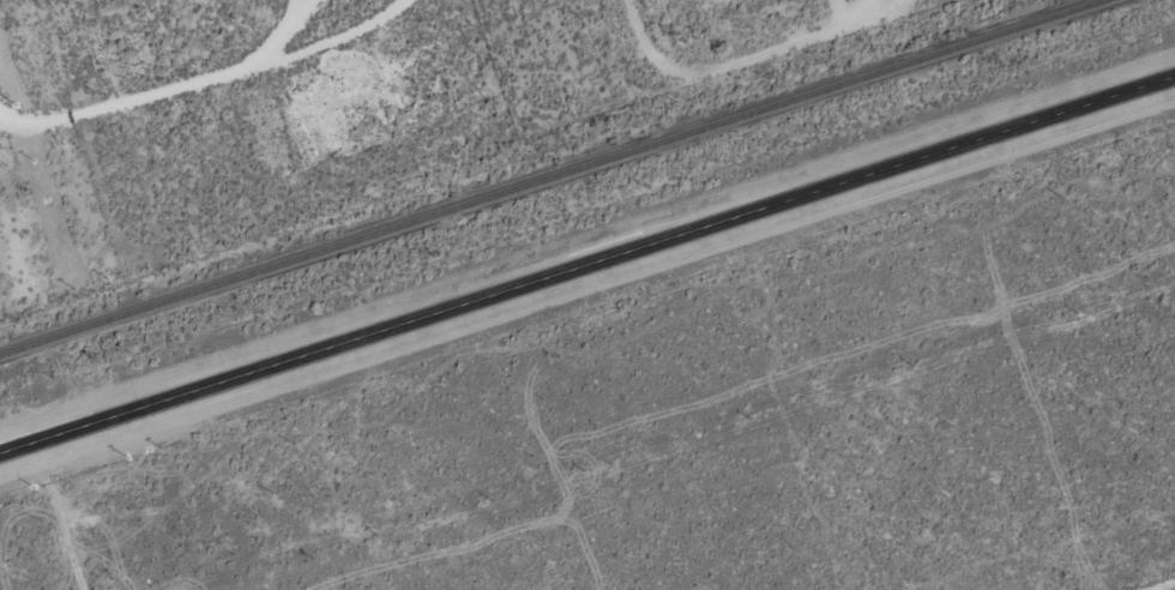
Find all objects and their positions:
railway: (554, 177)
road: (586, 265)
road: (1163, 585)

